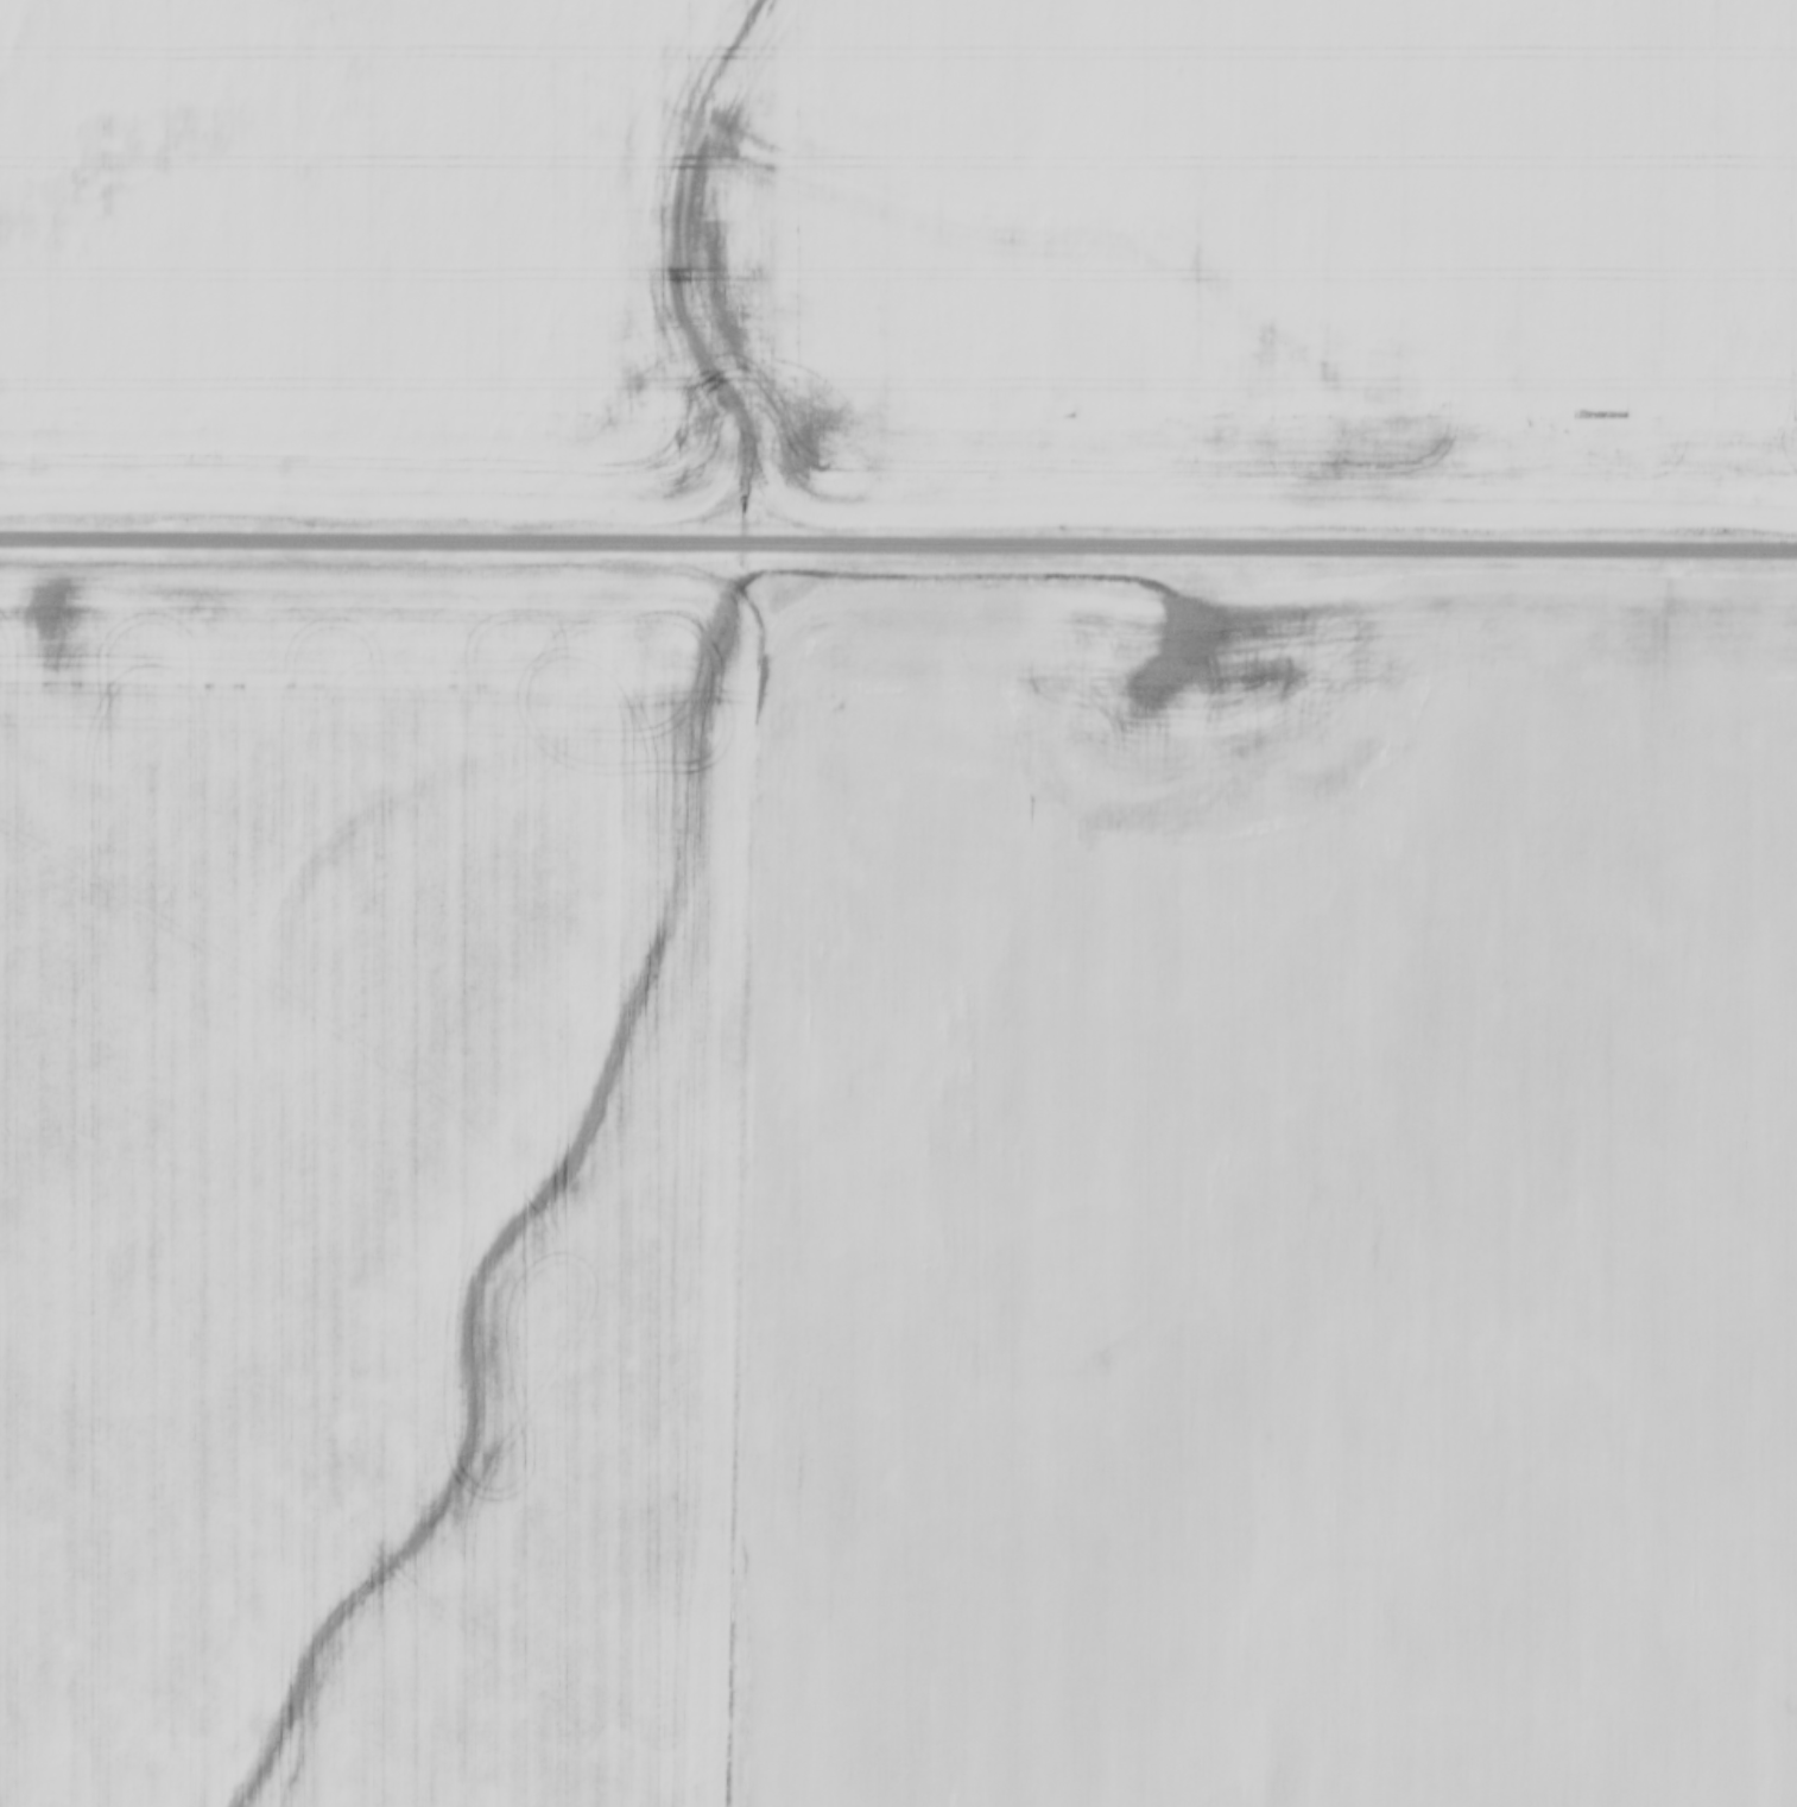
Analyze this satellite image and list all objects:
road: (898, 533)

